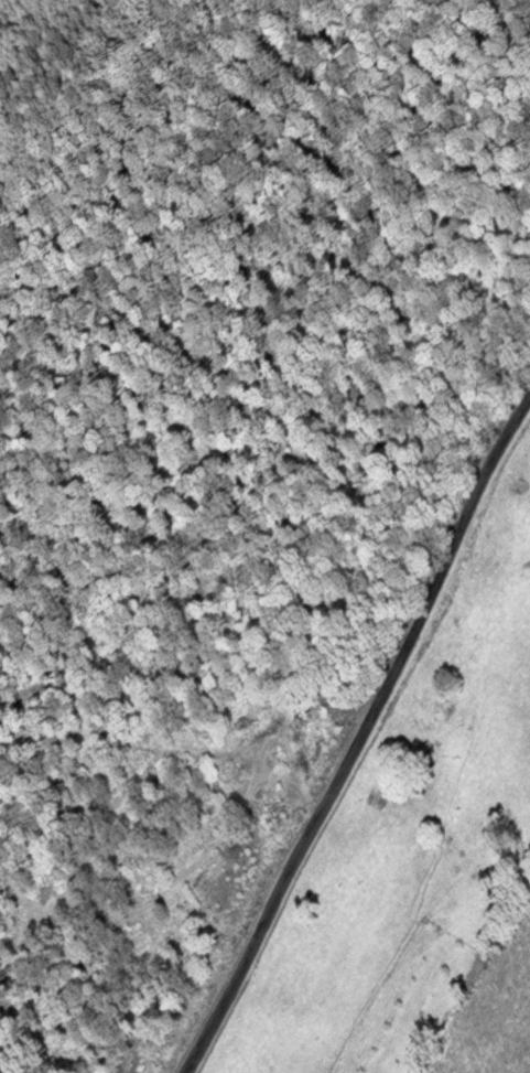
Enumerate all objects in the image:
road: (363, 734)

